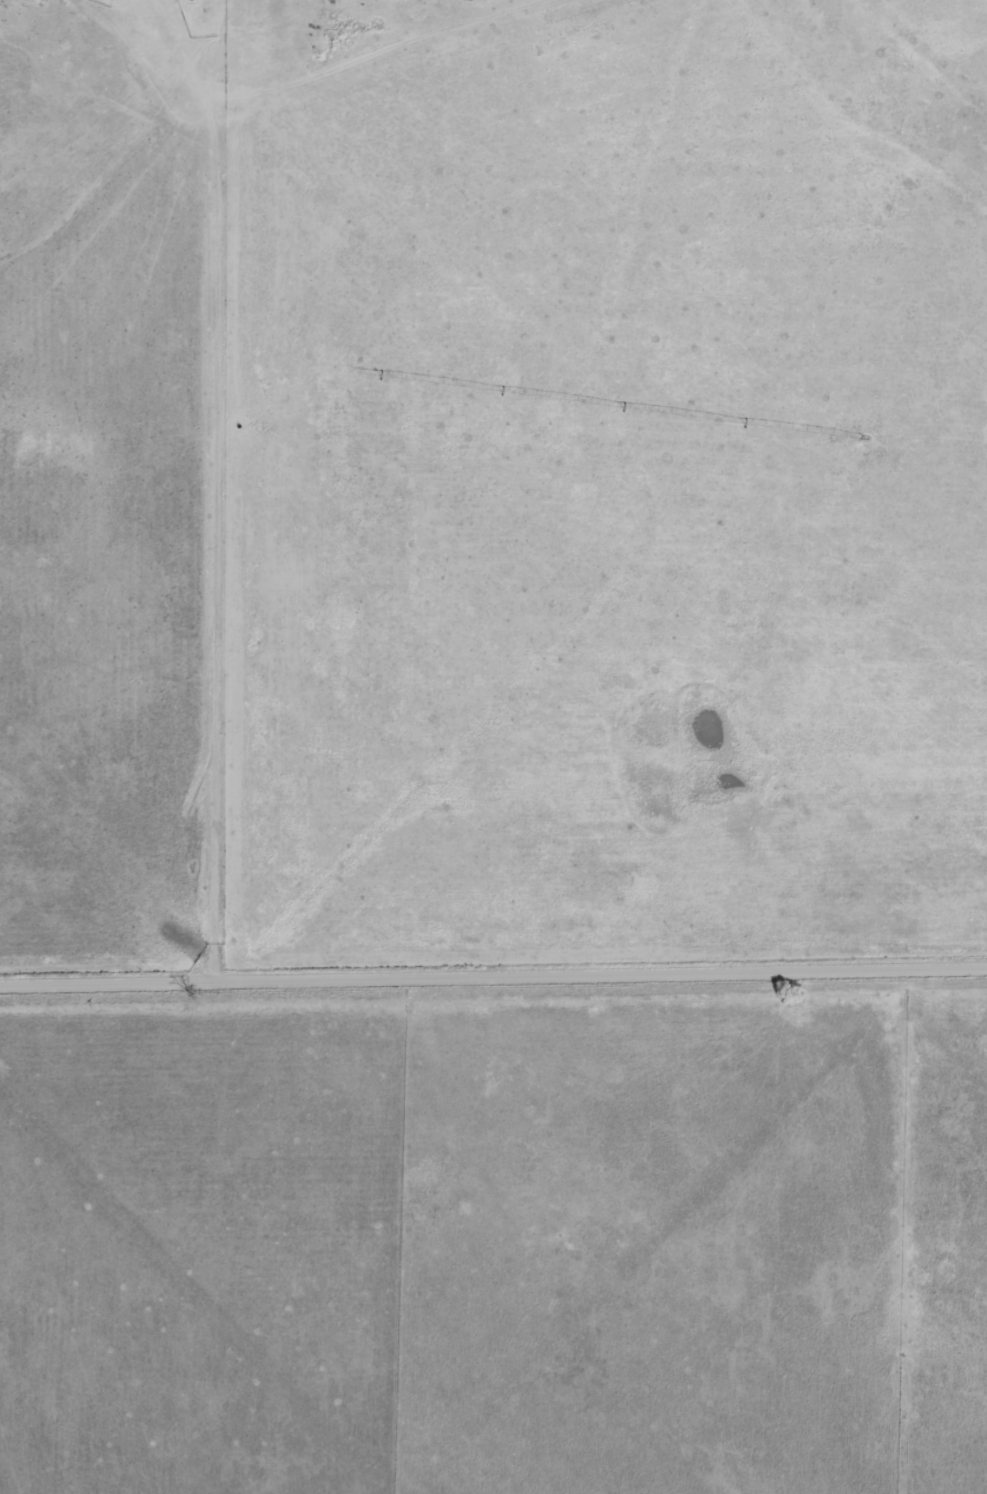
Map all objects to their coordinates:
building: (470, 0)
road: (331, 81)
road: (247, 527)
road: (493, 975)

